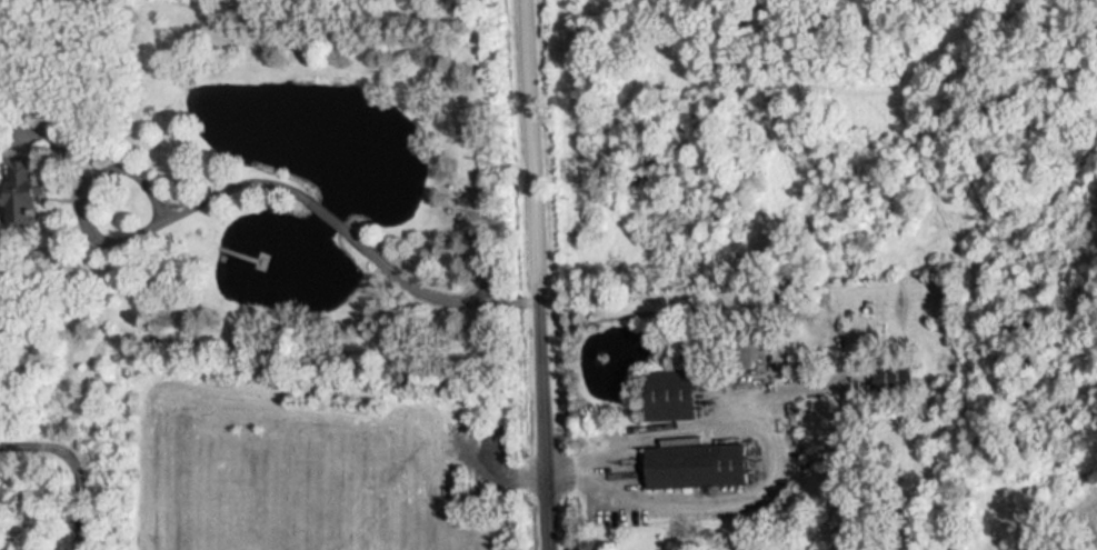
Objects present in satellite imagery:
road: (529, 143)
building: (24, 198)
road: (541, 418)
building: (692, 458)
road: (771, 486)

